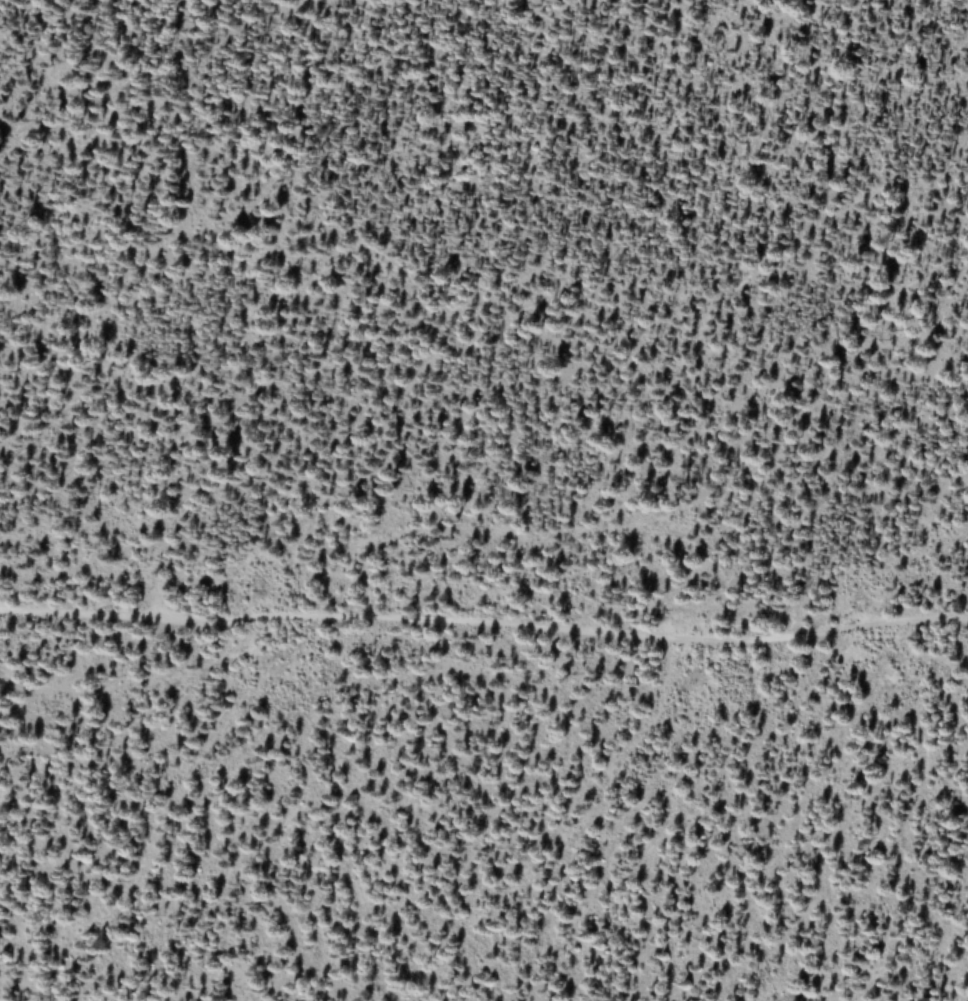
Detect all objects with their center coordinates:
road: (484, 622)

